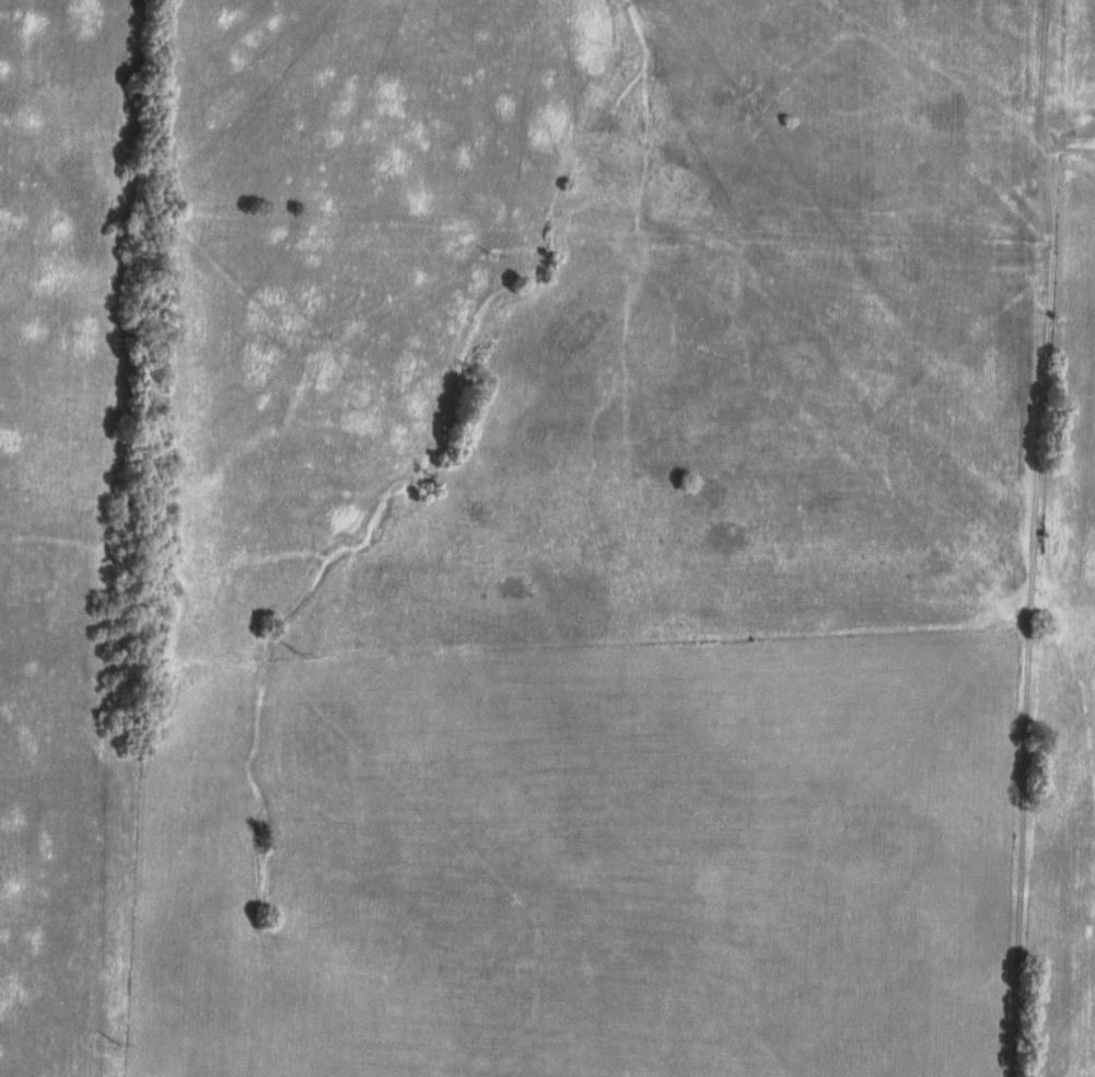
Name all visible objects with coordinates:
road: (1033, 536)

